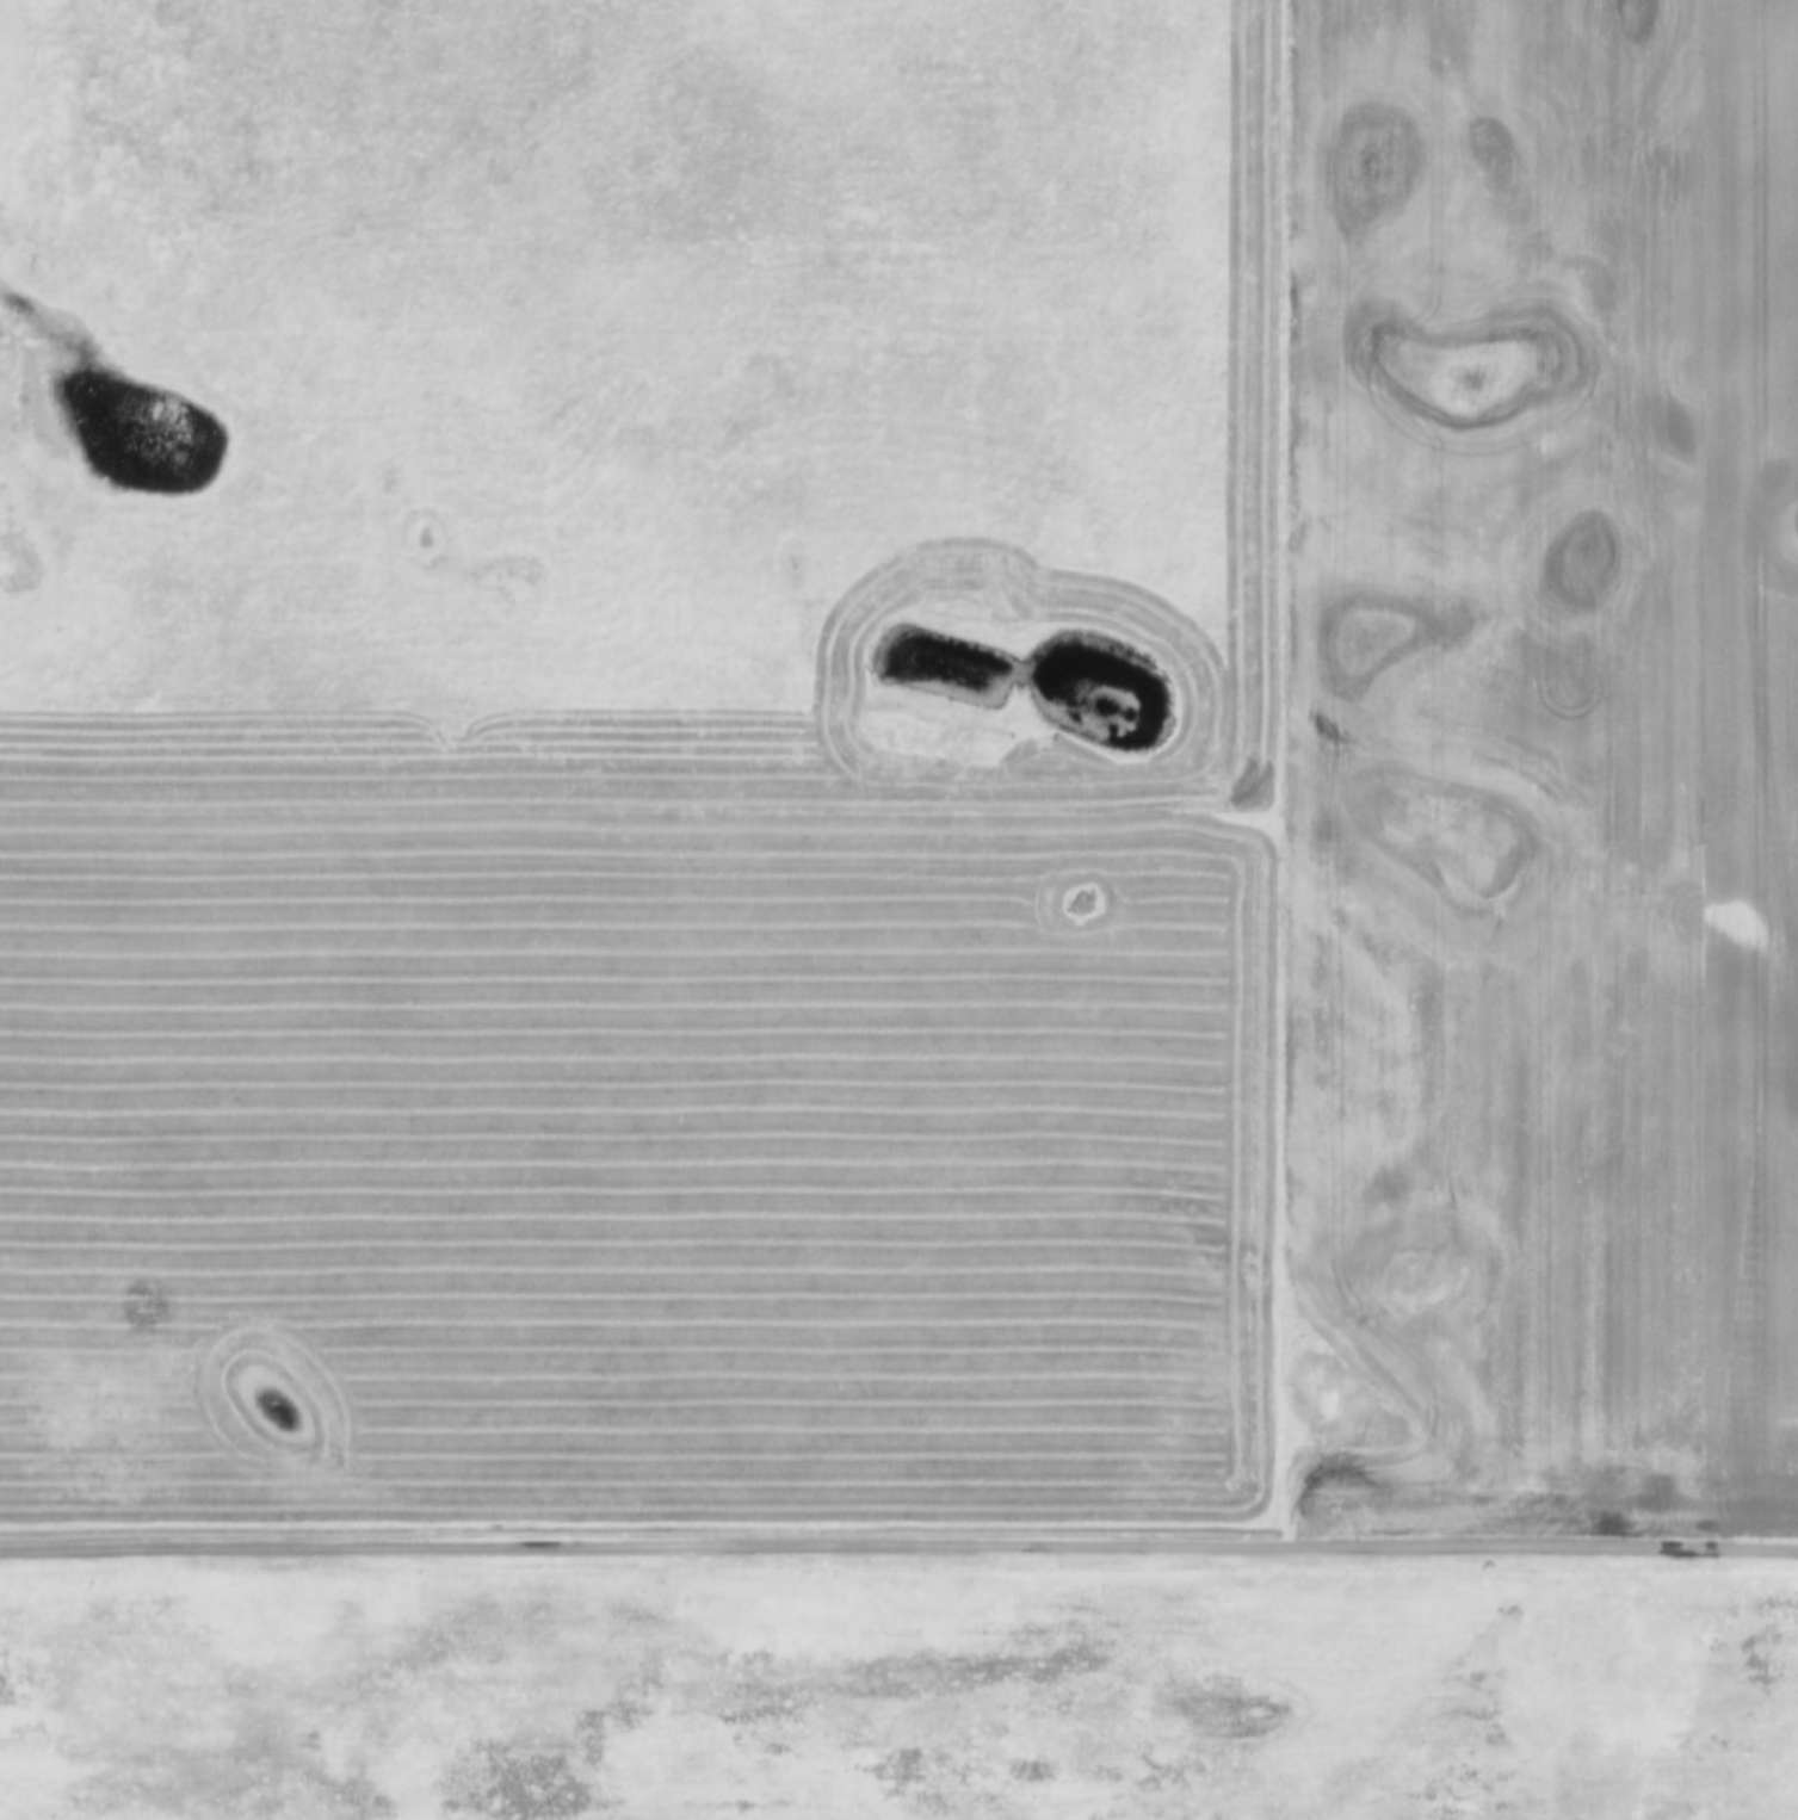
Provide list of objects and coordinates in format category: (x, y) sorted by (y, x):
road: (898, 1549)

